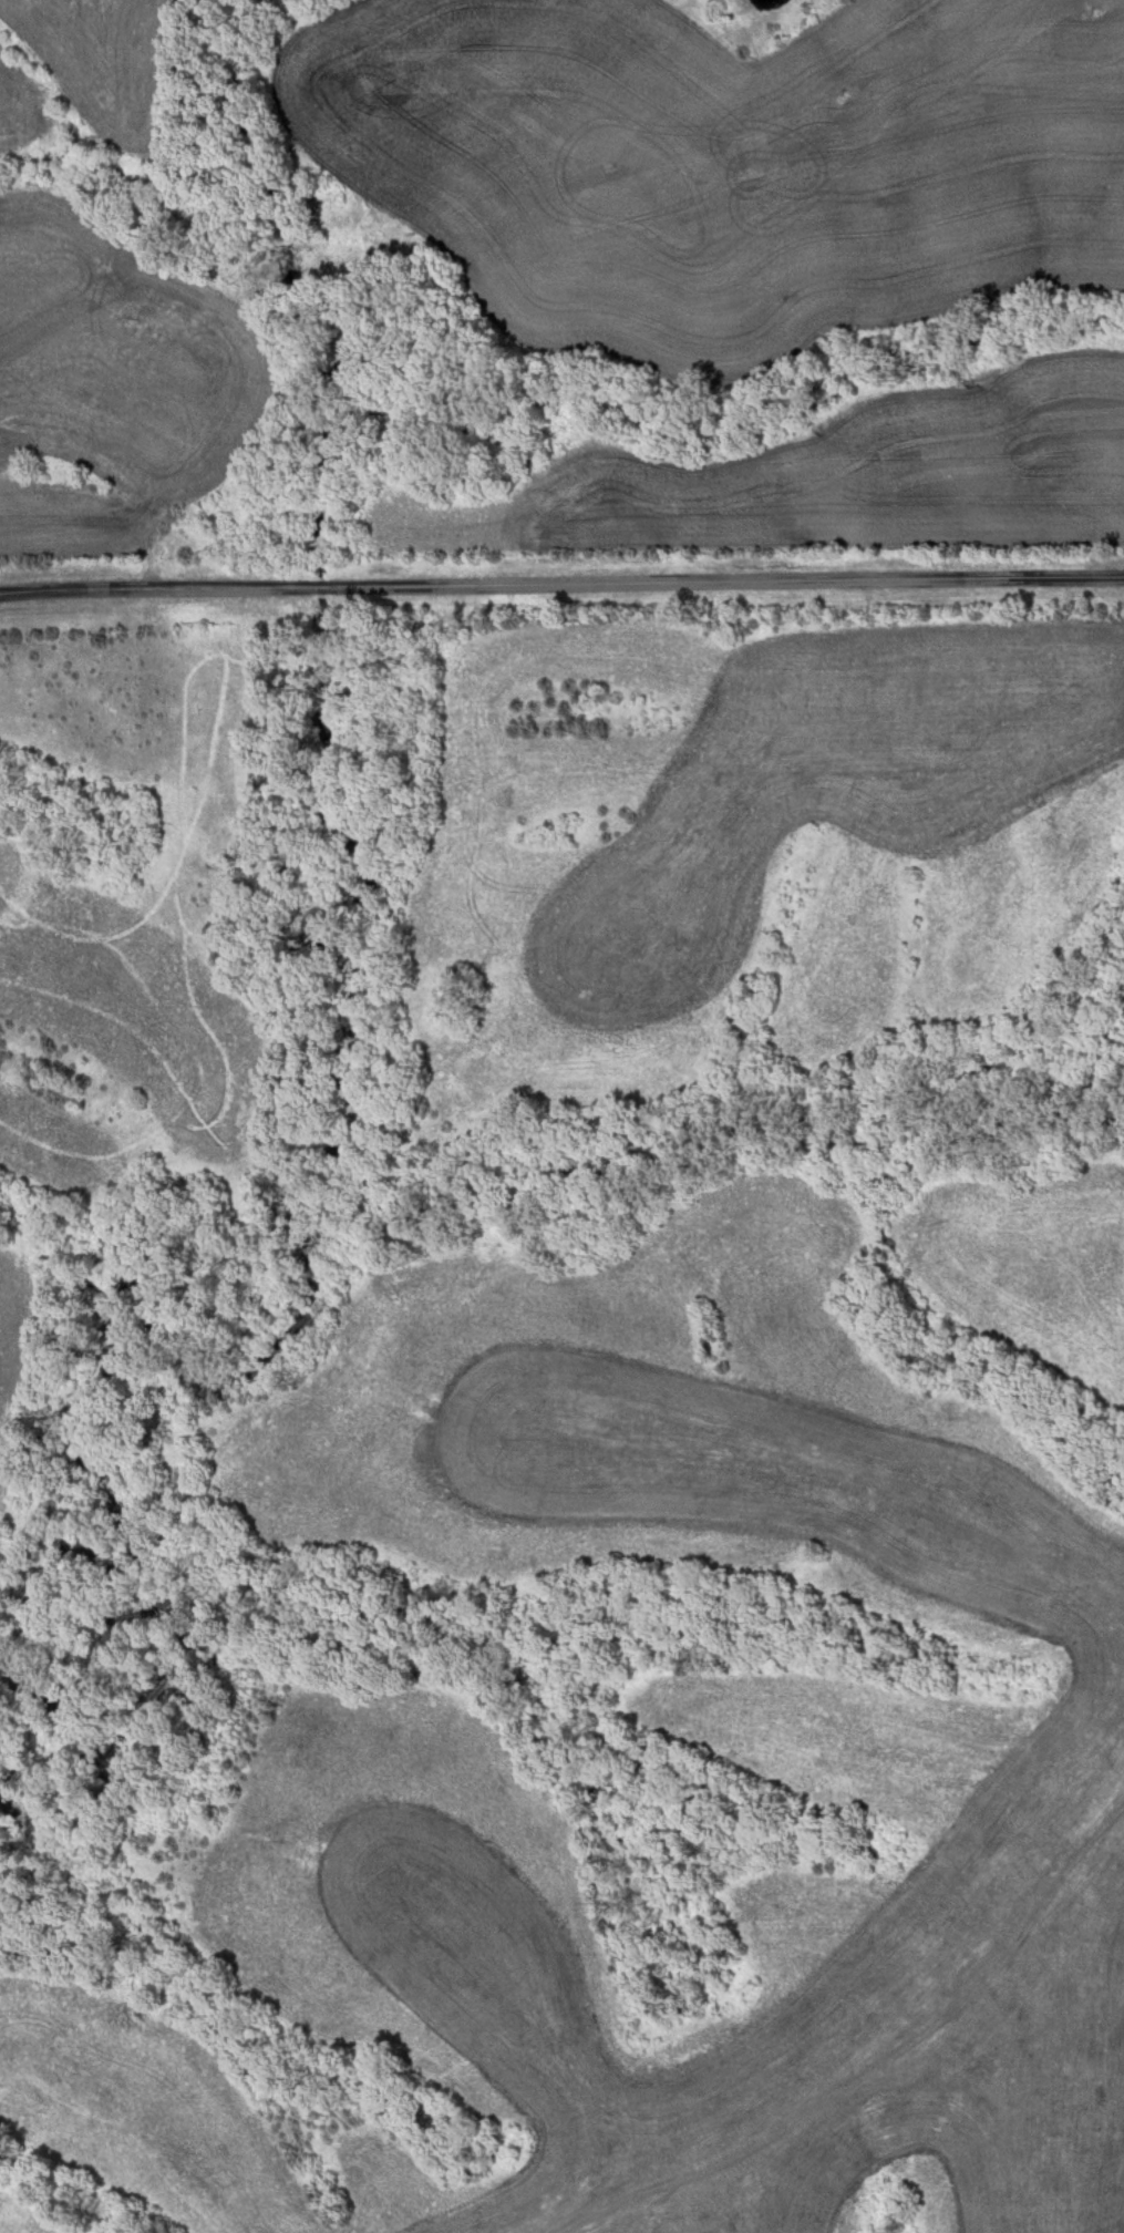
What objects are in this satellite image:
road: (561, 584)

